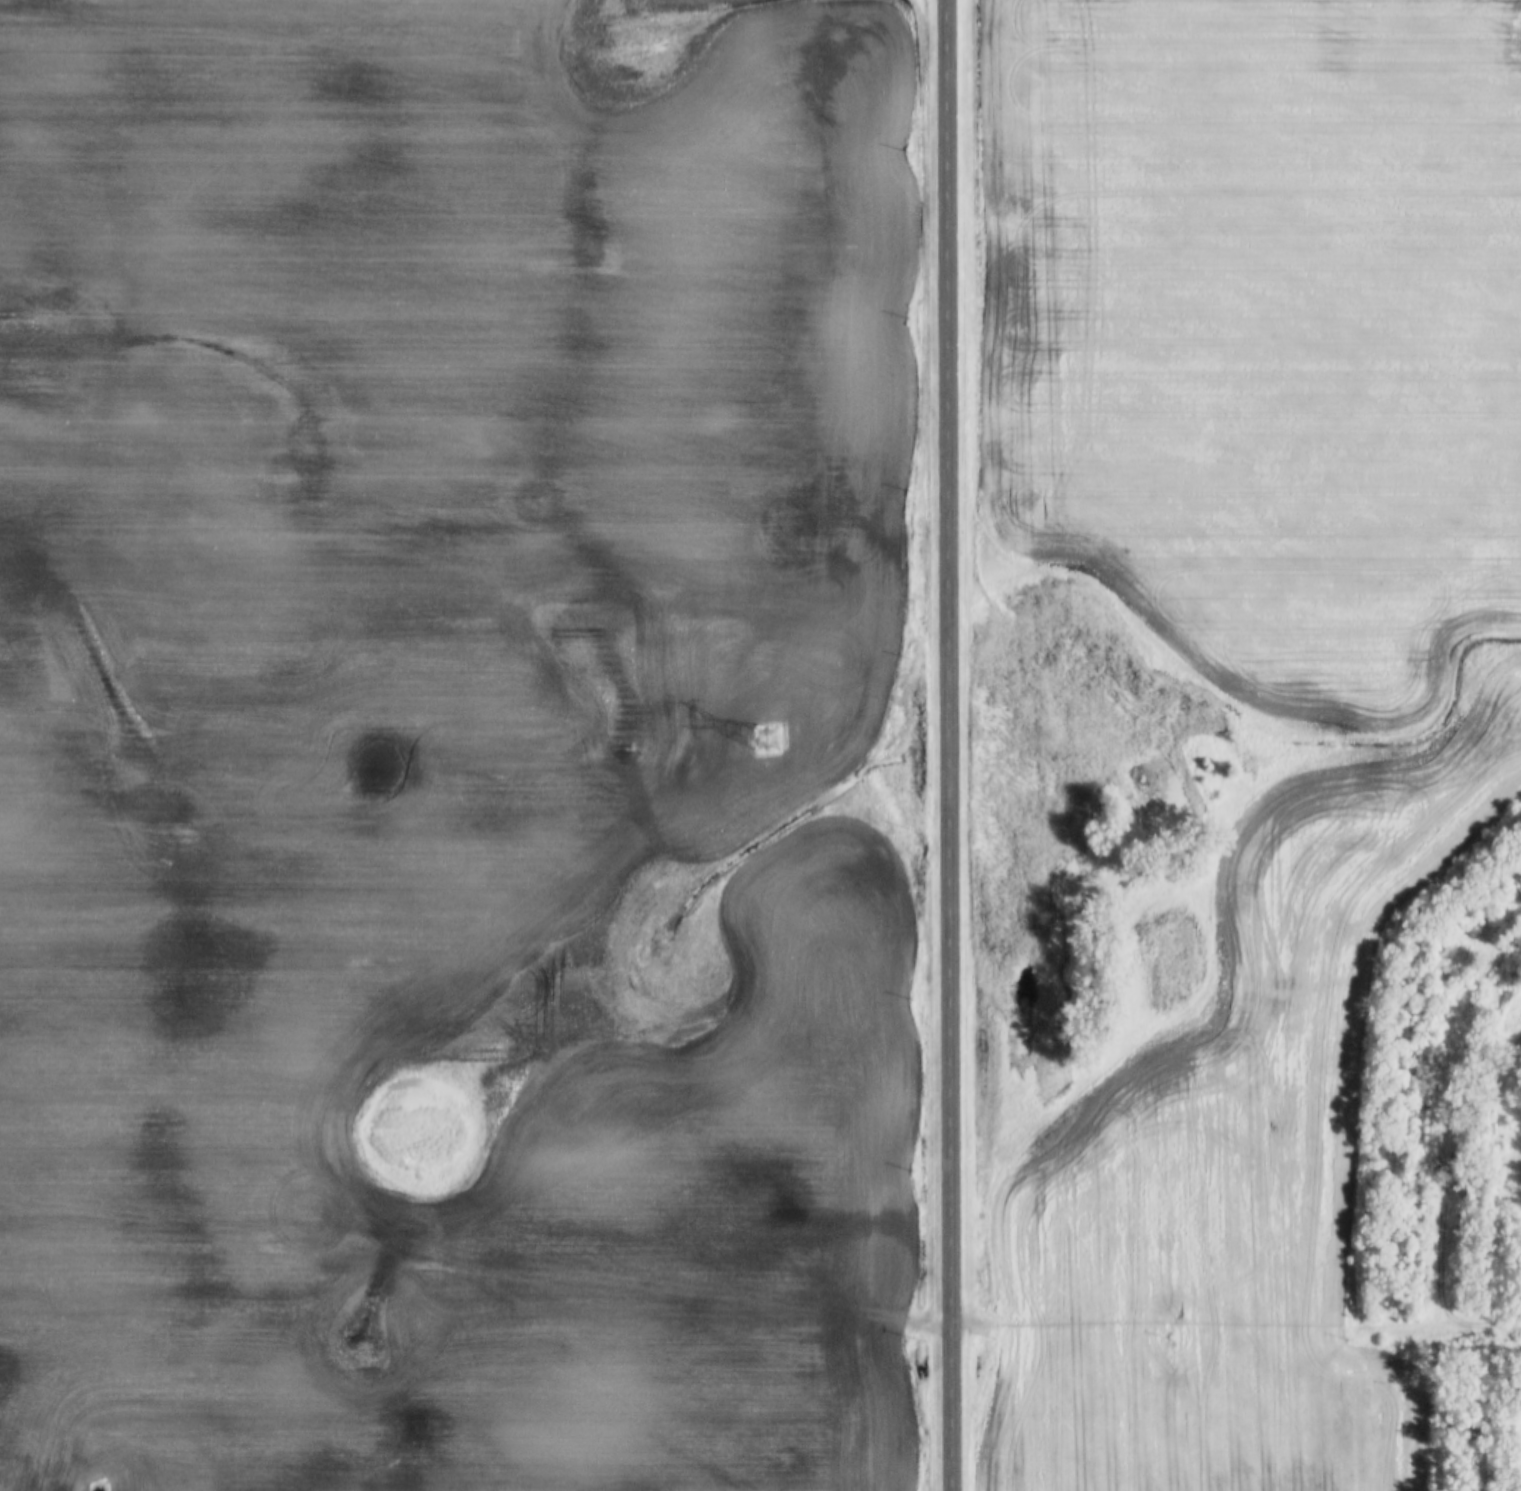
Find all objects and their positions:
power tower: (763, 738)
road: (949, 745)

